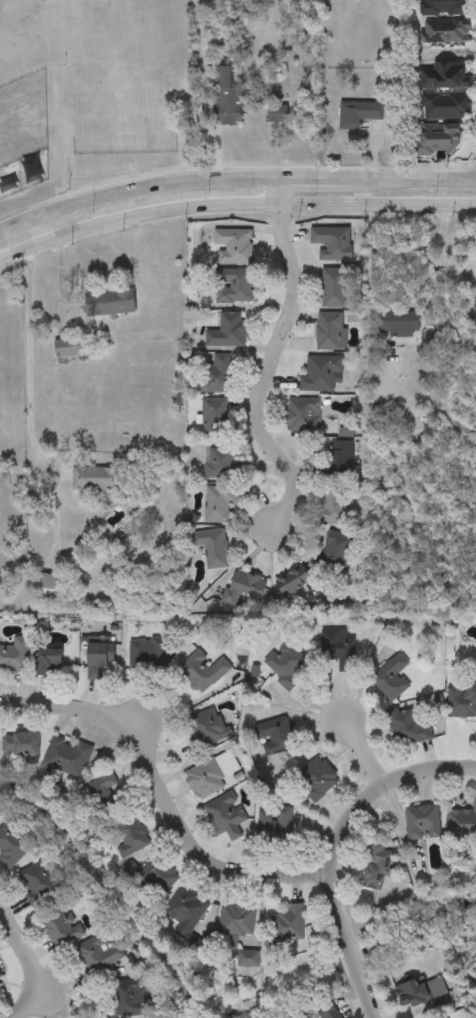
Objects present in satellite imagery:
building: (210, 0)
building: (445, 8)
building: (446, 32)
building: (446, 78)
building: (227, 100)
building: (448, 108)
building: (278, 114)
building: (359, 116)
building: (438, 142)
road: (234, 181)
road: (279, 193)
road: (233, 206)
building: (332, 244)
building: (234, 247)
road: (371, 258)
building: (236, 286)
building: (334, 288)
building: (110, 302)
building: (399, 323)
building: (229, 332)
building: (330, 332)
building: (71, 350)
road: (27, 365)
road: (264, 370)
building: (321, 374)
building: (217, 376)
building: (304, 415)
building: (216, 420)
building: (343, 454)
building: (221, 465)
building: (96, 479)
building: (220, 504)
building: (213, 547)
building: (336, 552)
building: (294, 582)
building: (51, 587)
building: (246, 590)
building: (338, 648)
building: (149, 655)
building: (15, 657)
building: (100, 660)
building: (50, 662)
building: (287, 665)
building: (204, 672)
building: (391, 679)
building: (462, 701)
building: (207, 728)
building: (409, 729)
building: (275, 736)
building: (21, 744)
road: (363, 752)
building: (68, 757)
building: (211, 775)
building: (317, 779)
building: (103, 794)
road: (161, 797)
building: (225, 813)
building: (1, 815)
building: (423, 823)
building: (463, 824)
building: (285, 827)
building: (131, 836)
building: (12, 845)
road: (331, 848)
building: (378, 867)
building: (157, 877)
building: (39, 882)
building: (188, 911)
building: (238, 921)
building: (62, 928)
building: (289, 928)
building: (100, 955)
building: (249, 959)
road: (30, 962)
building: (1, 981)
building: (127, 995)
building: (422, 995)
building: (330, 1013)

